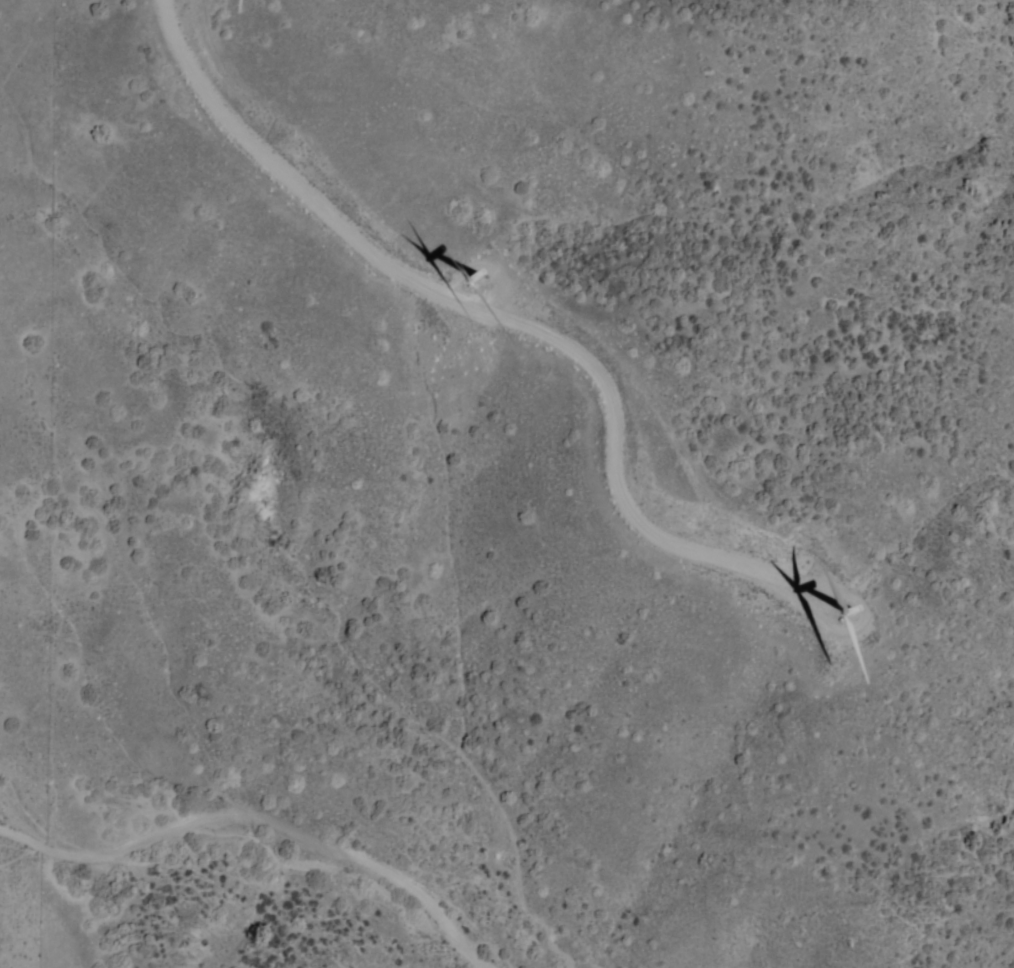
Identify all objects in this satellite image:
wind turbine: (505, 248)
road: (389, 258)
wind turbine: (845, 600)
road: (264, 814)

